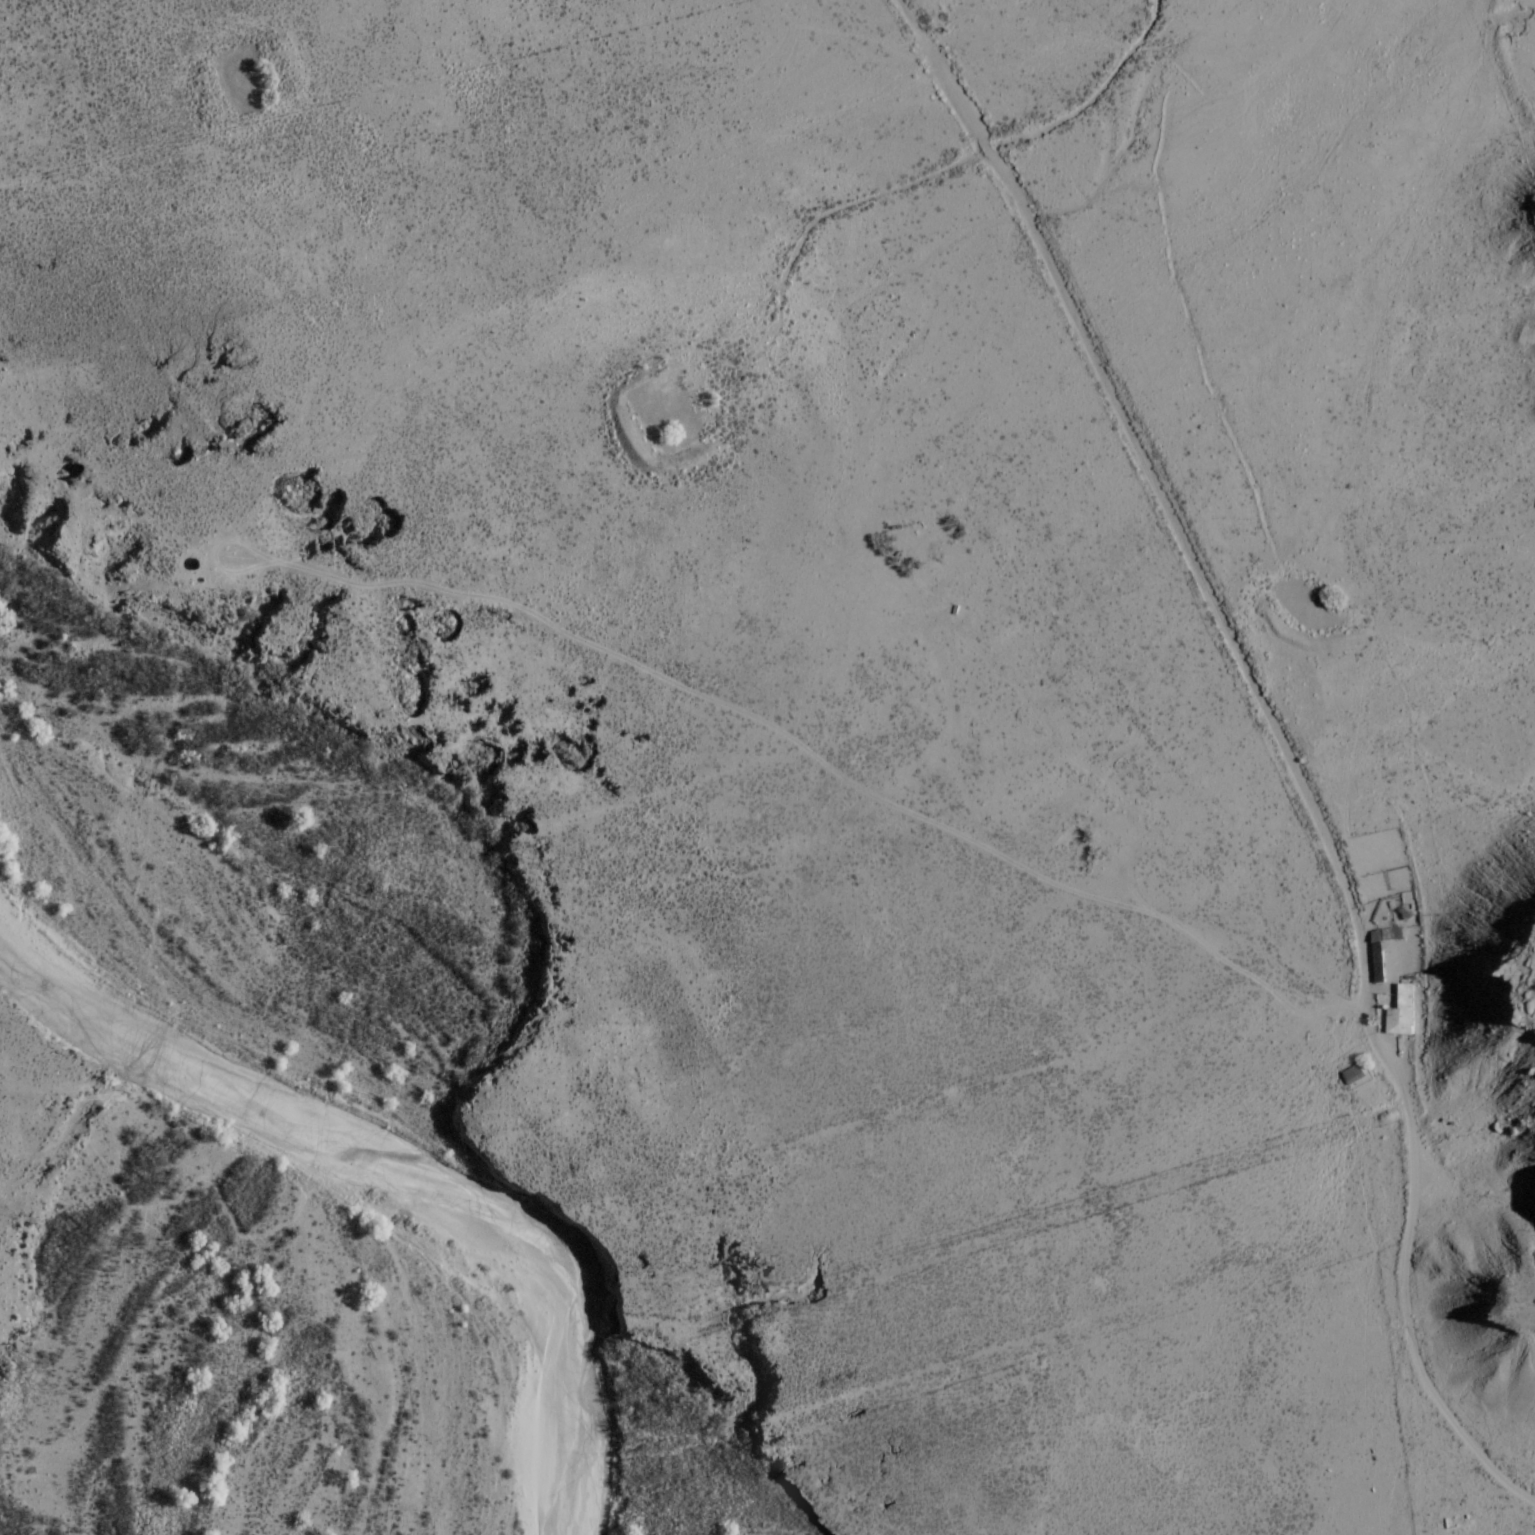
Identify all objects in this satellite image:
road: (1280, 739)
building: (1379, 949)
building: (1398, 1012)
building: (1351, 1073)
river: (358, 1150)

